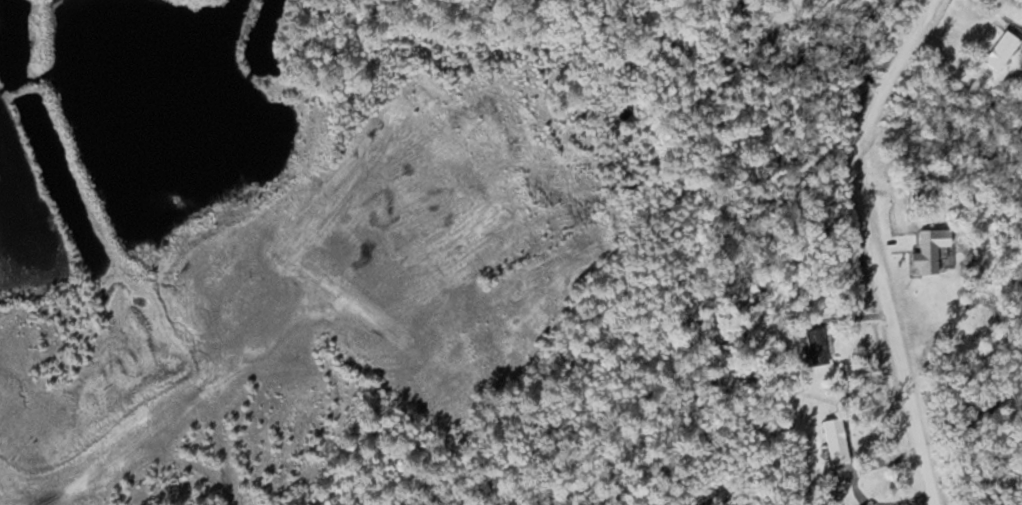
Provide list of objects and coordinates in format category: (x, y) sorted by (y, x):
building: (999, 49)
road: (873, 245)
building: (929, 249)
building: (813, 347)
building: (834, 439)

